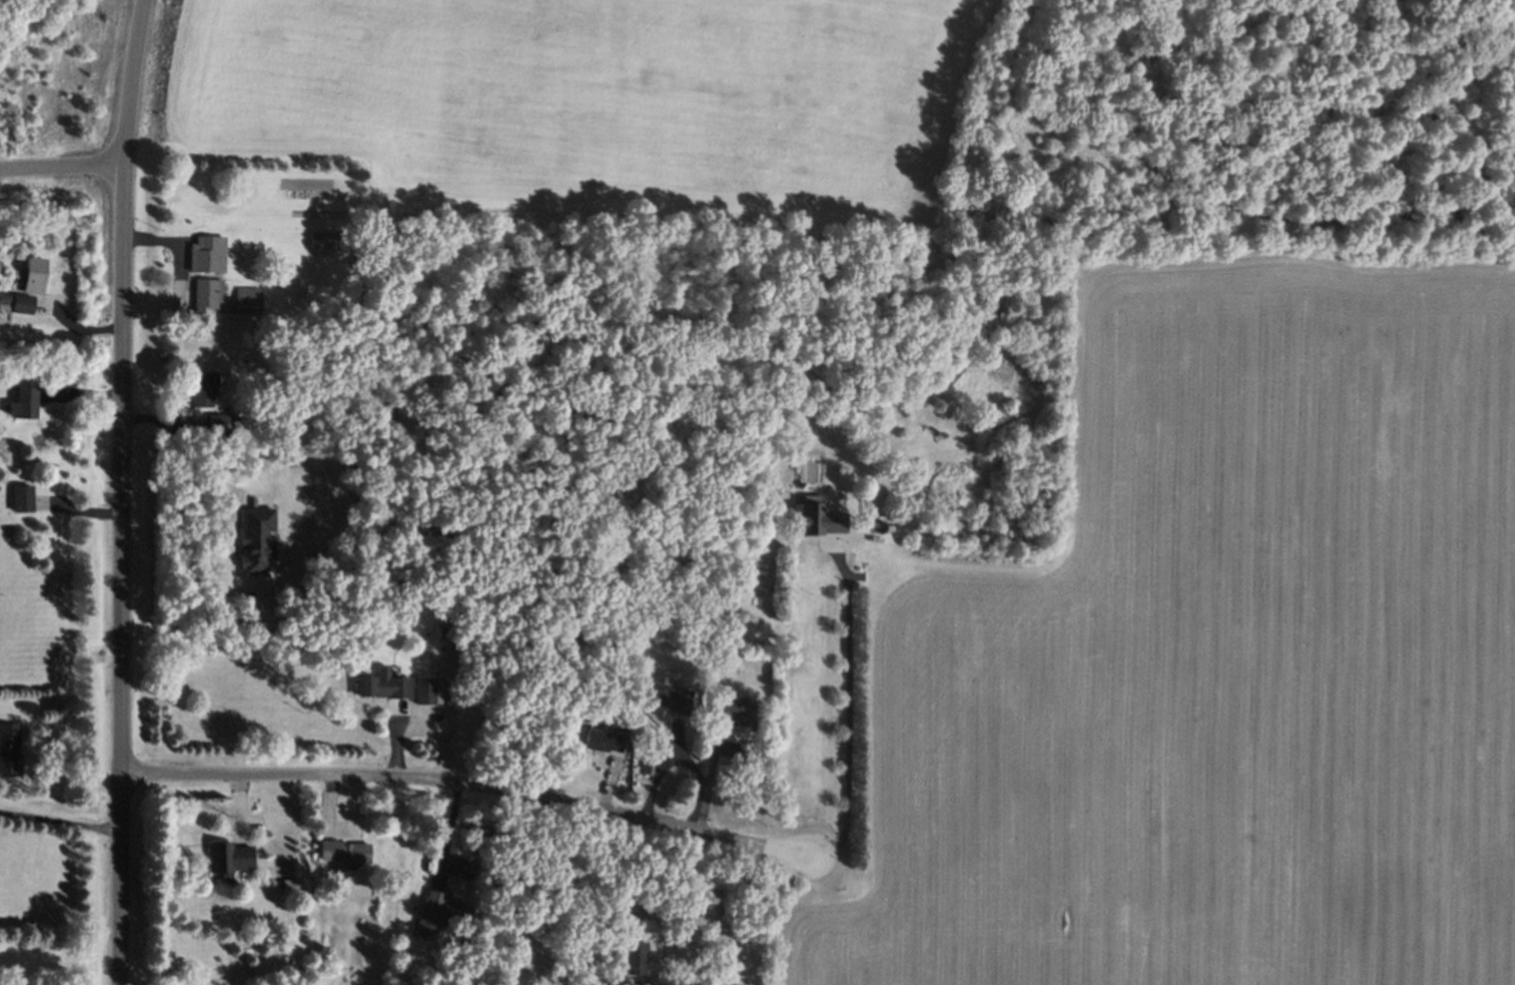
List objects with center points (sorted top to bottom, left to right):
road: (61, 176)
building: (325, 240)
building: (204, 254)
building: (32, 275)
building: (207, 295)
building: (13, 300)
building: (245, 300)
building: (204, 389)
building: (22, 403)
building: (222, 423)
road: (189, 465)
road: (120, 491)
building: (21, 498)
building: (815, 520)
building: (257, 539)
building: (383, 686)
building: (426, 691)
building: (665, 697)
road: (847, 706)
building: (732, 712)
building: (603, 742)
building: (9, 749)
road: (708, 778)
road: (466, 790)
road: (59, 821)
building: (343, 852)
building: (228, 859)
building: (462, 868)
building: (438, 912)
road: (758, 915)
building: (632, 960)

